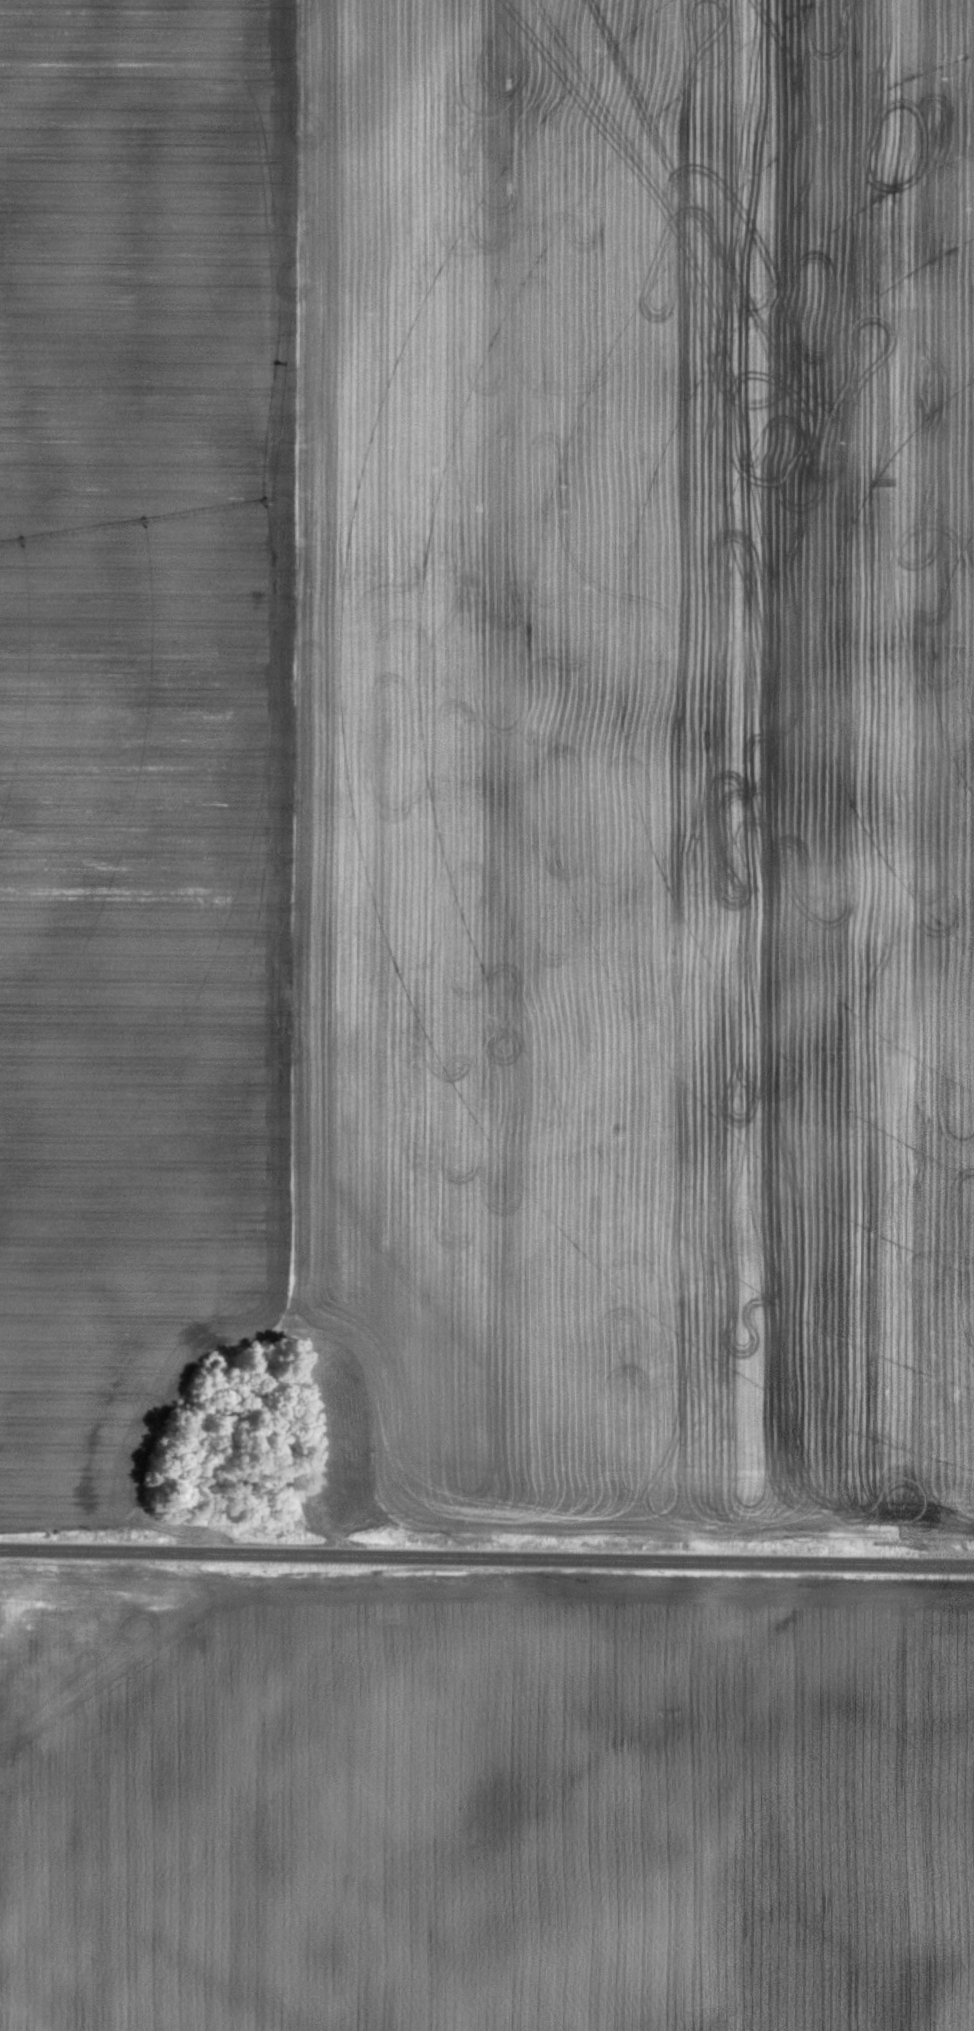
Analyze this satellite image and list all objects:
road: (487, 1559)

